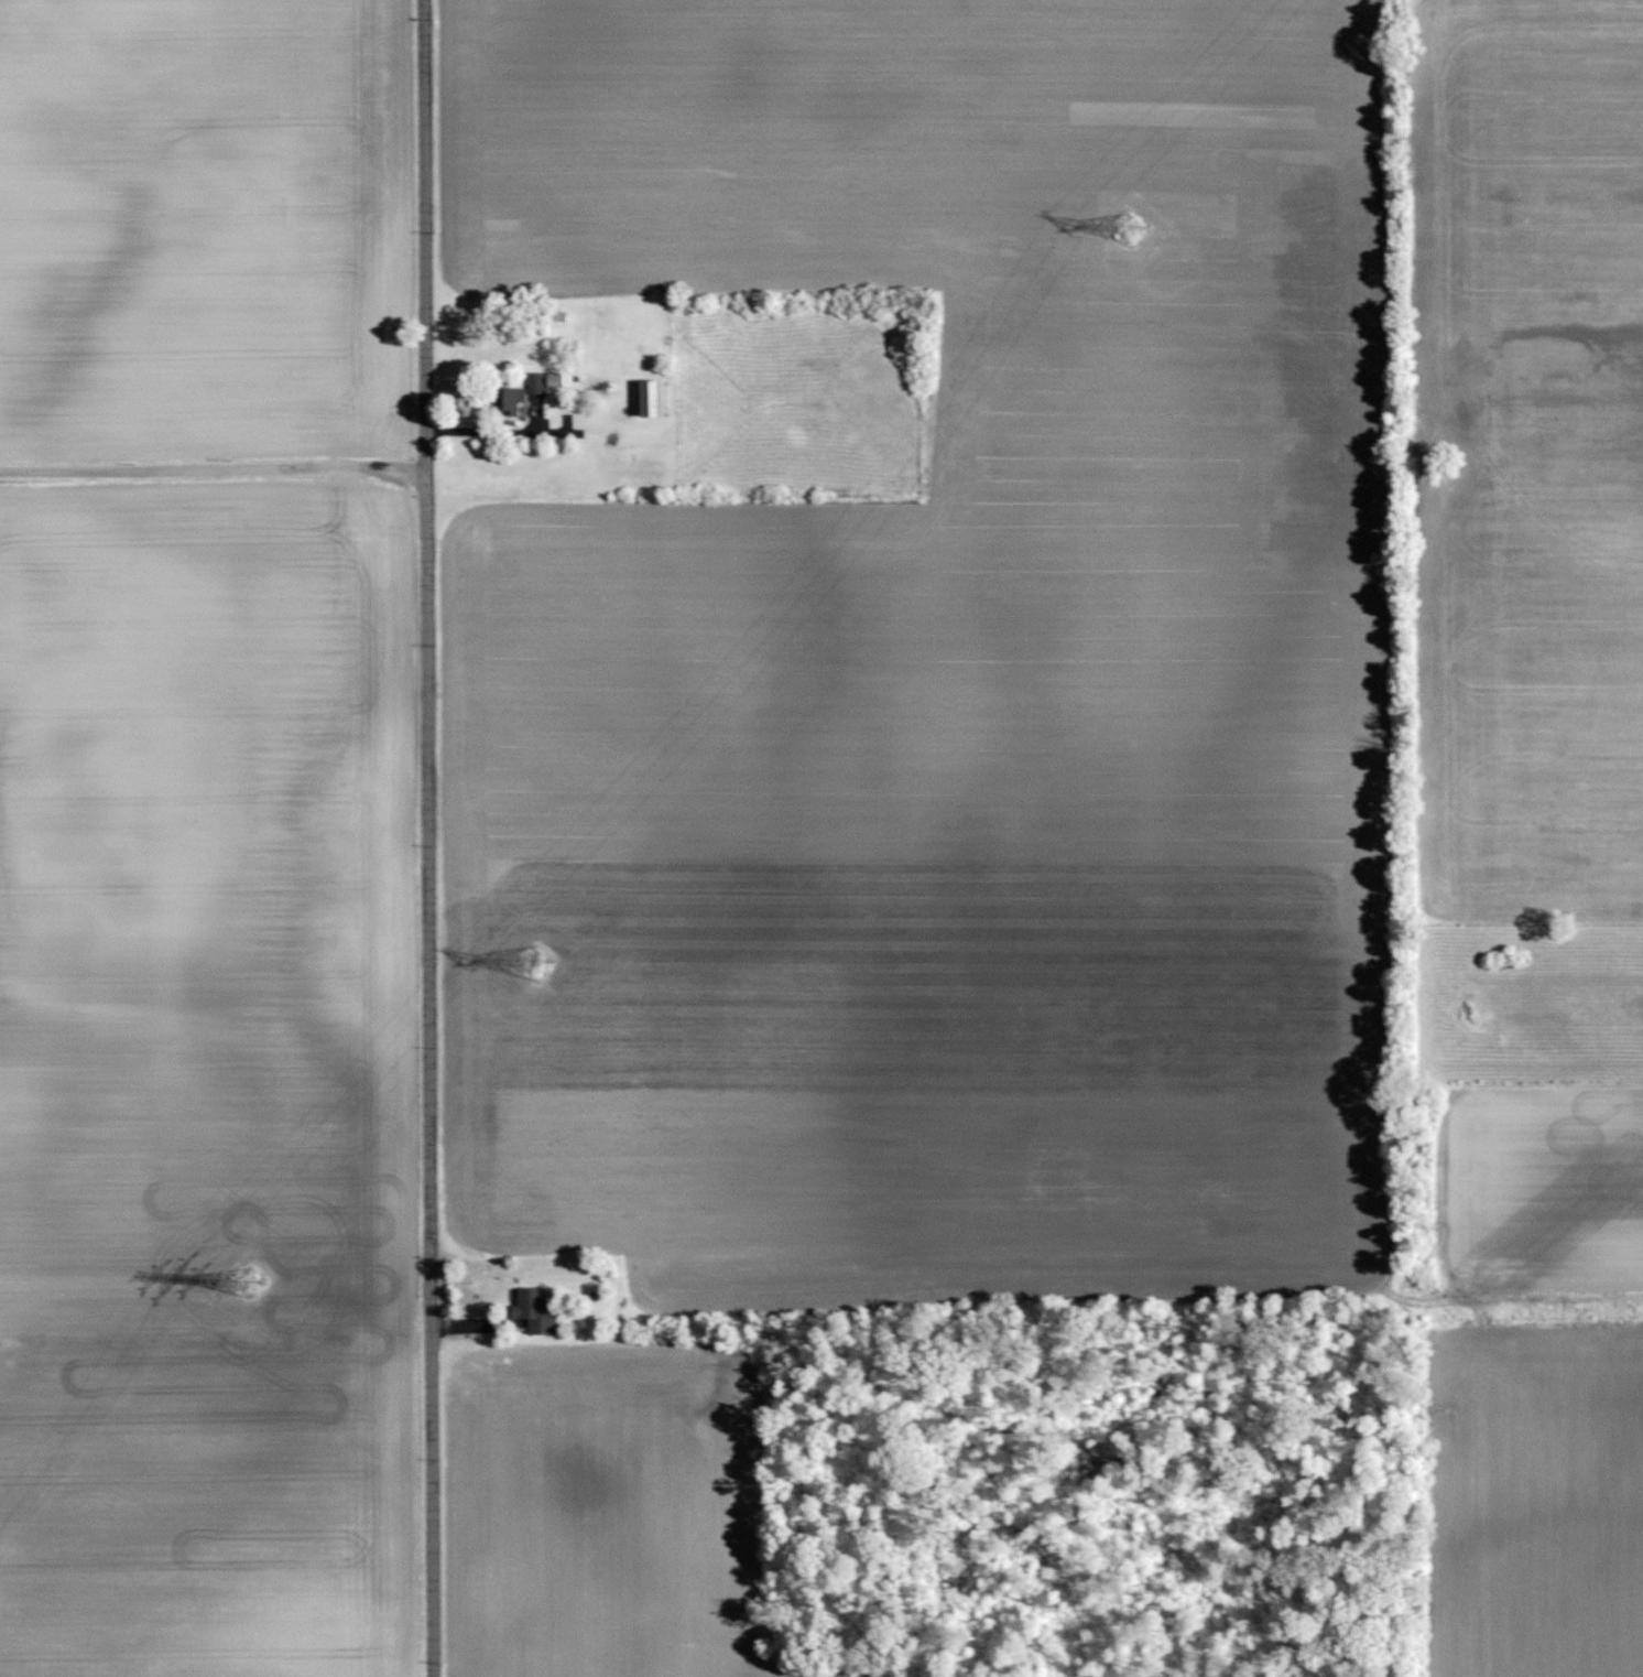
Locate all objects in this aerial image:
power tower: (1123, 227)
building: (536, 383)
building: (653, 398)
building: (511, 400)
road: (213, 467)
road: (428, 837)
power tower: (534, 964)
power tower: (247, 1285)
building: (536, 1311)

